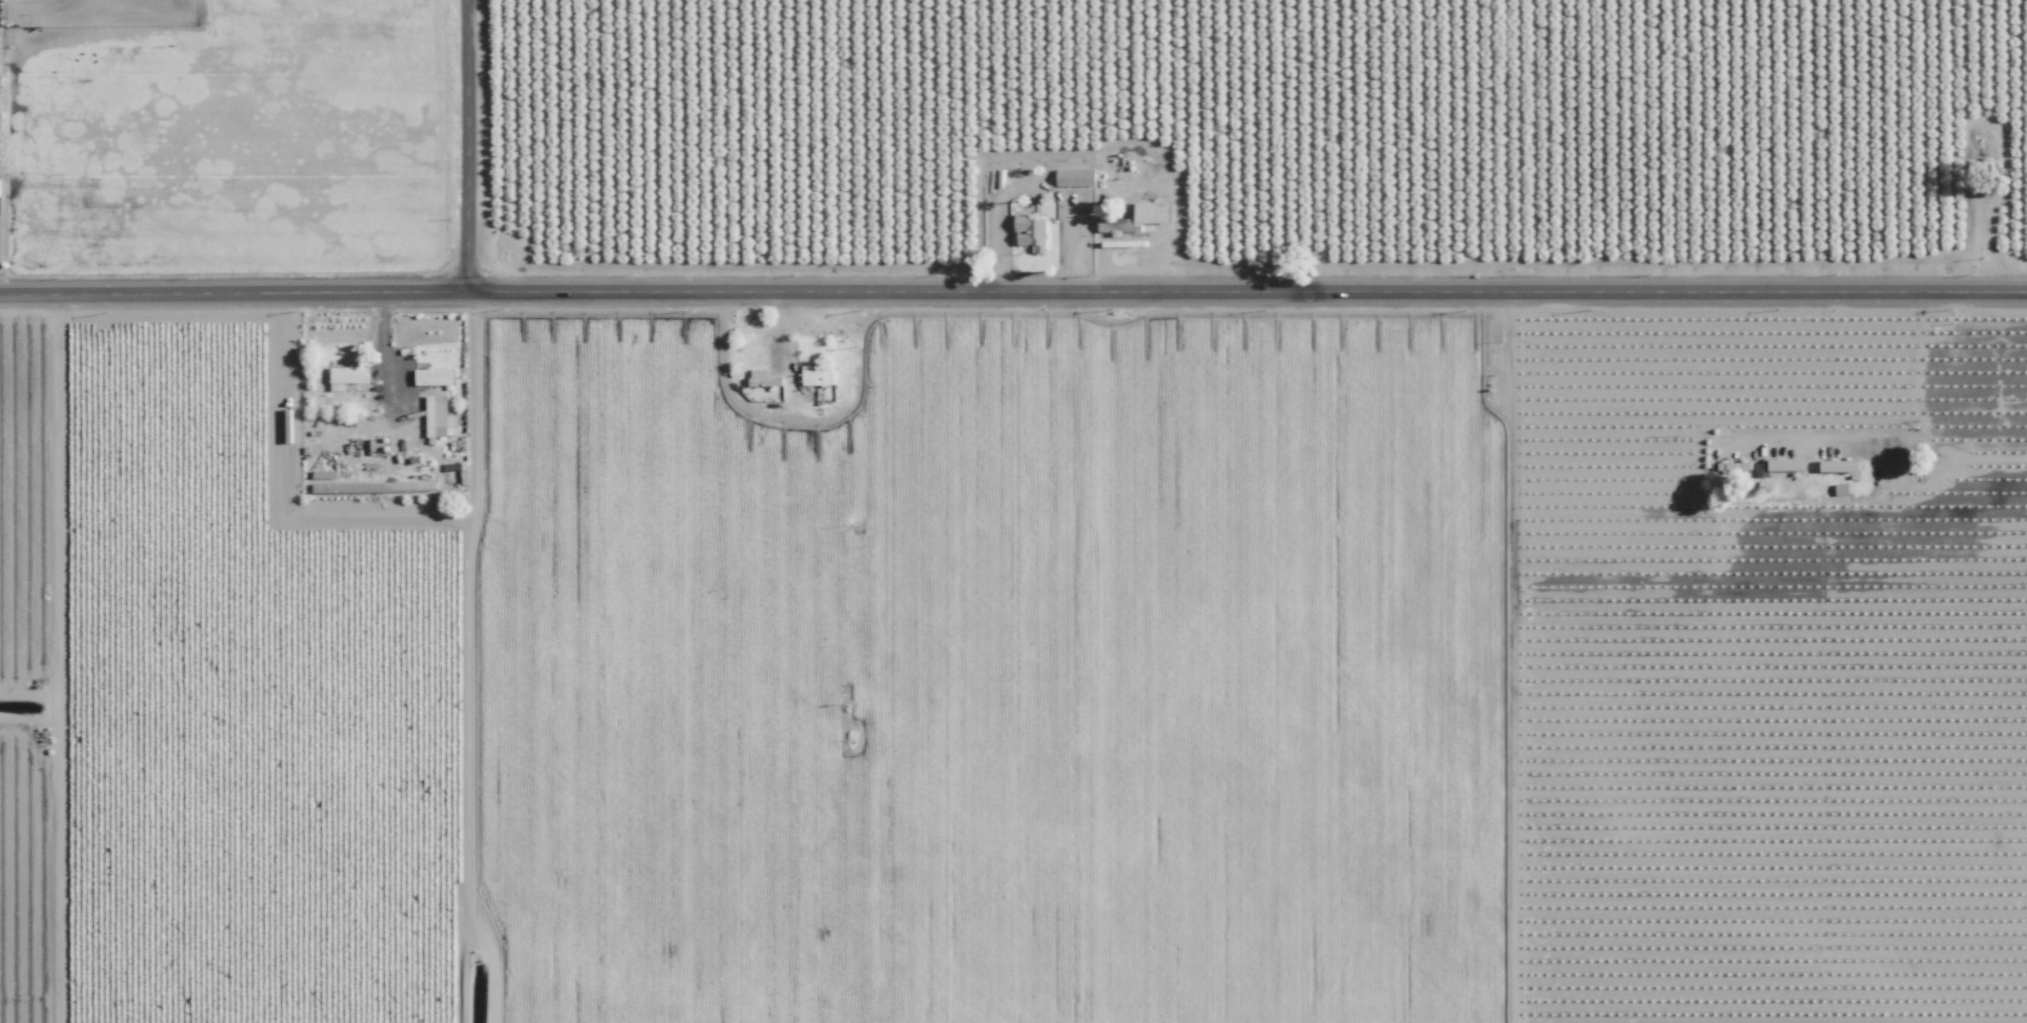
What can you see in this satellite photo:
crop: (1766, 126)
crop: (994, 128)
crop: (224, 131)
road: (464, 139)
building: (1075, 177)
road: (1036, 188)
building: (1151, 213)
building: (1031, 235)
road: (1013, 281)
road: (386, 326)
building: (346, 374)
building: (816, 375)
building: (432, 376)
building: (435, 414)
road: (1883, 434)
road: (1953, 461)
building: (1839, 465)
crop: (777, 663)
crop: (1303, 664)

